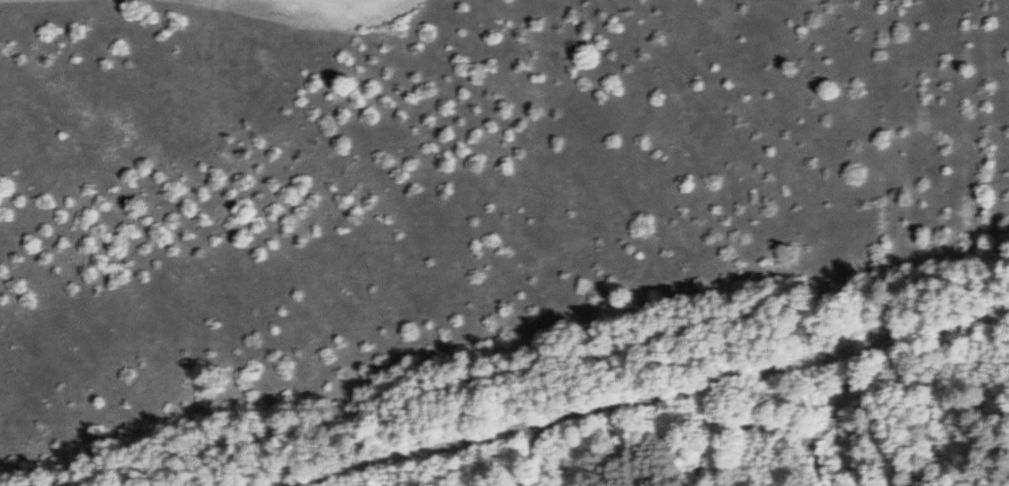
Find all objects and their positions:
park: (264, 18)

